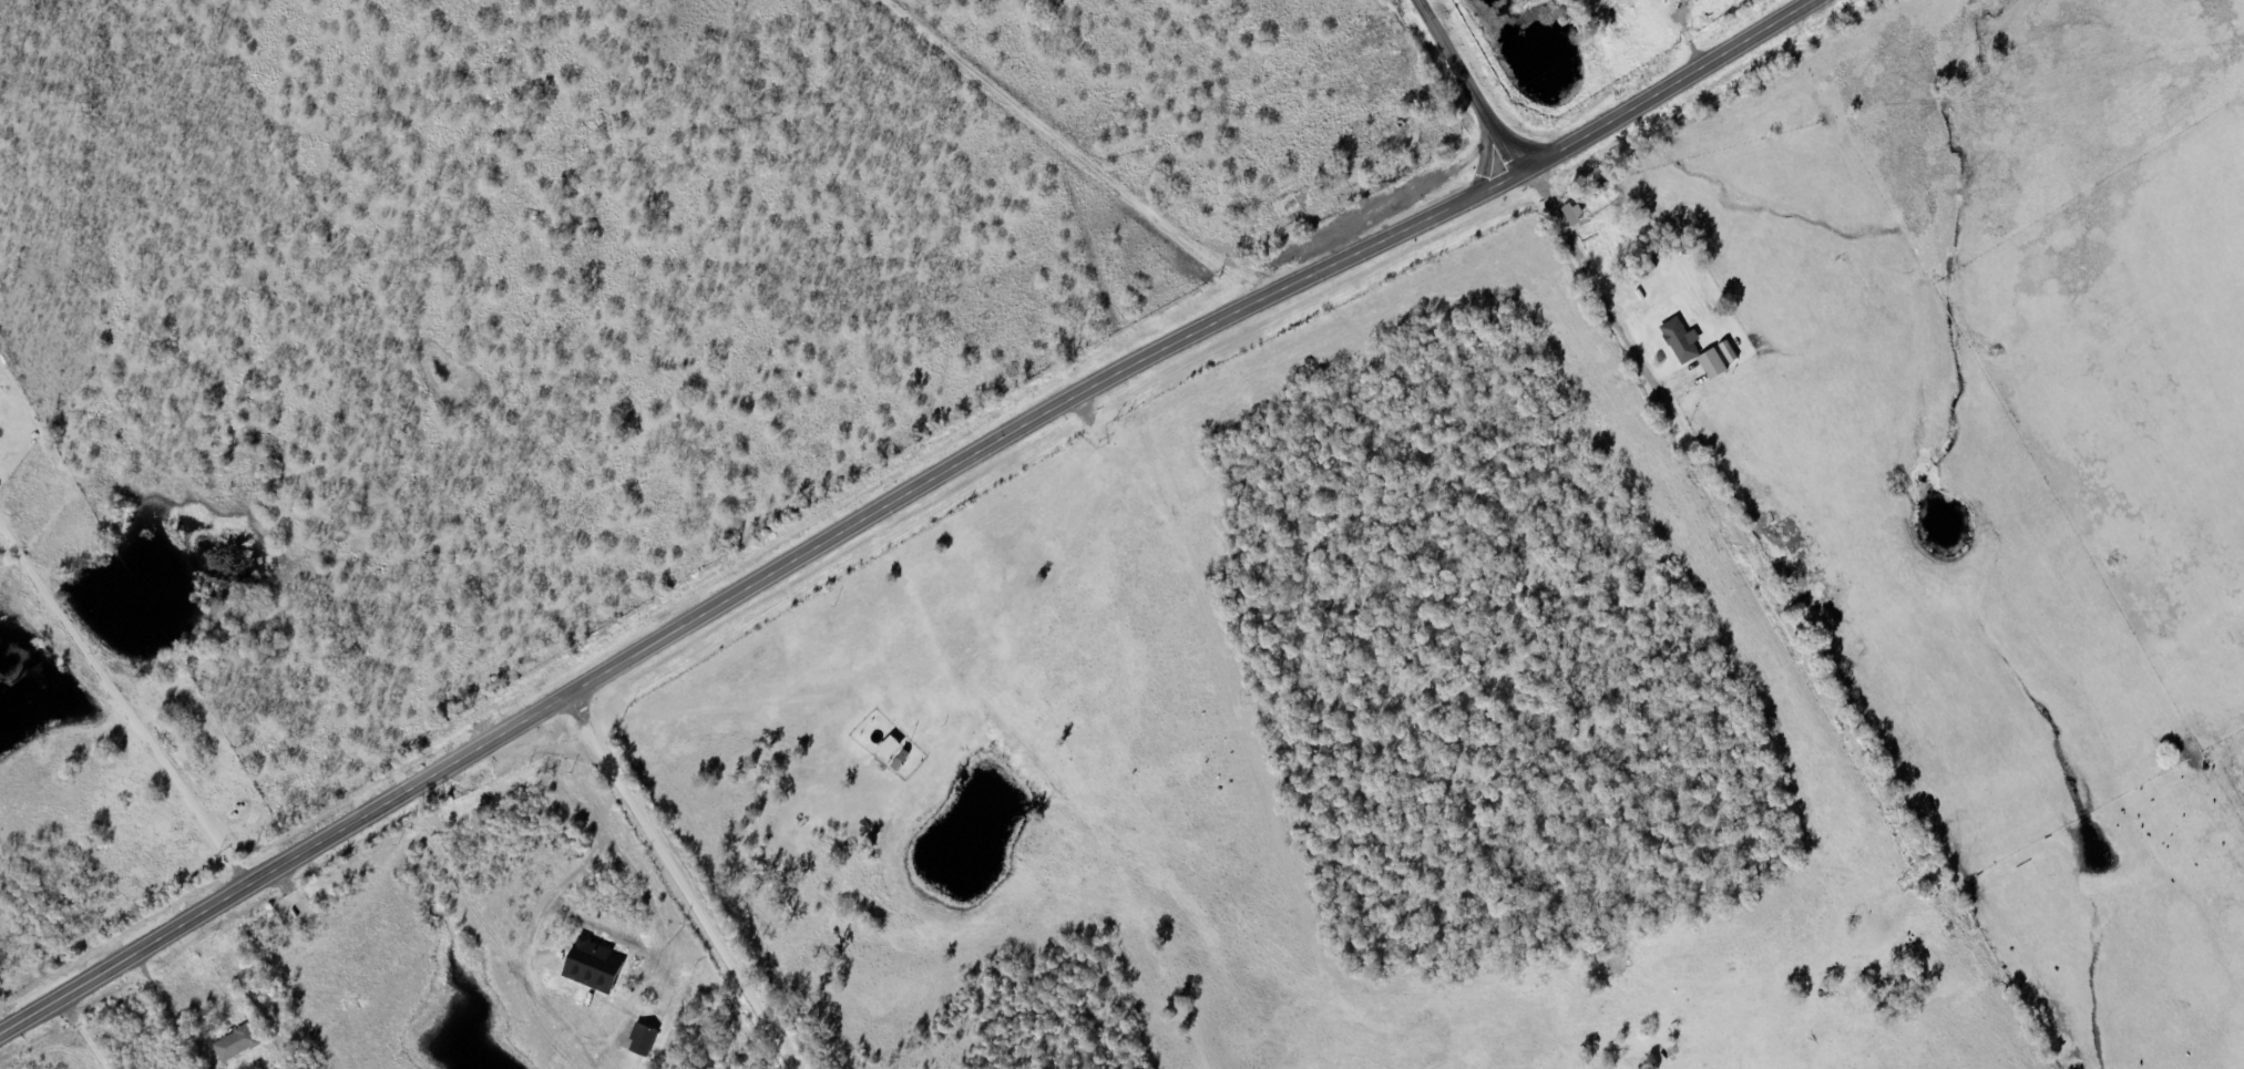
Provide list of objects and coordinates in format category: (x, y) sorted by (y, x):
road: (1467, 84)
road: (1669, 93)
road: (1054, 151)
building: (1578, 215)
building: (1687, 342)
building: (1723, 362)
road: (919, 494)
road: (1770, 621)
road: (693, 883)
road: (167, 928)
building: (647, 1041)
building: (239, 1046)

